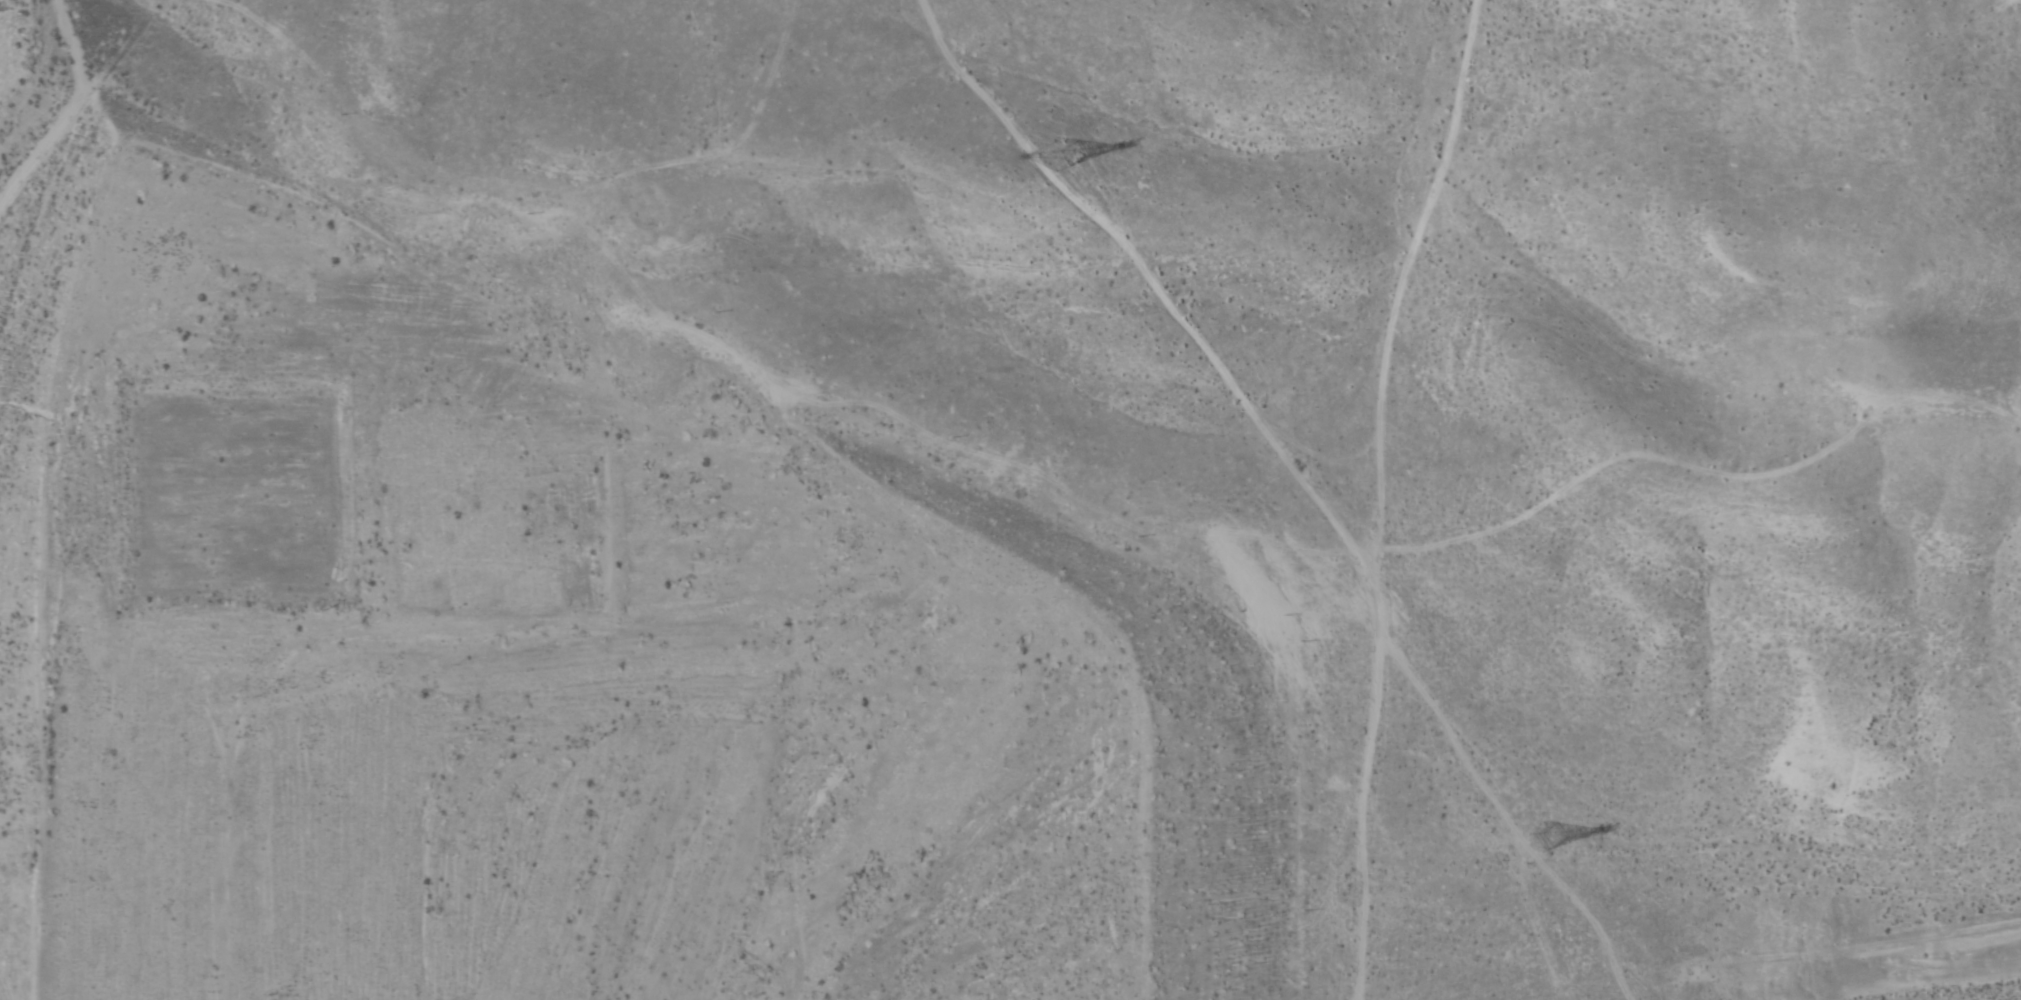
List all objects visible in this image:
road: (726, 62)
power tower: (1053, 154)
road: (1410, 501)
road: (1325, 509)
road: (377, 602)
power tower: (1538, 835)
road: (1619, 881)
road: (1462, 977)

